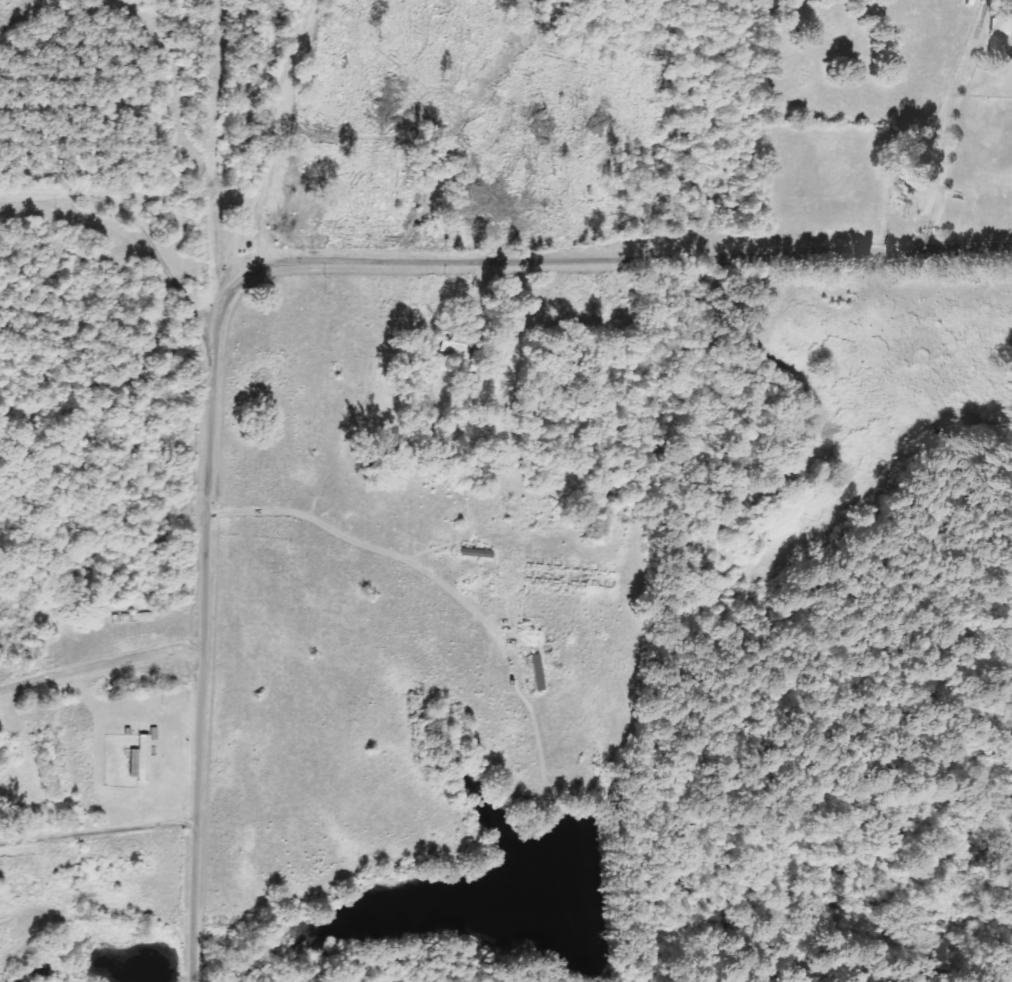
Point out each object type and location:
building: (1003, 31)
road: (84, 50)
road: (265, 167)
road: (294, 301)
road: (148, 320)
road: (952, 457)
road: (102, 663)
building: (143, 759)
road: (101, 832)

